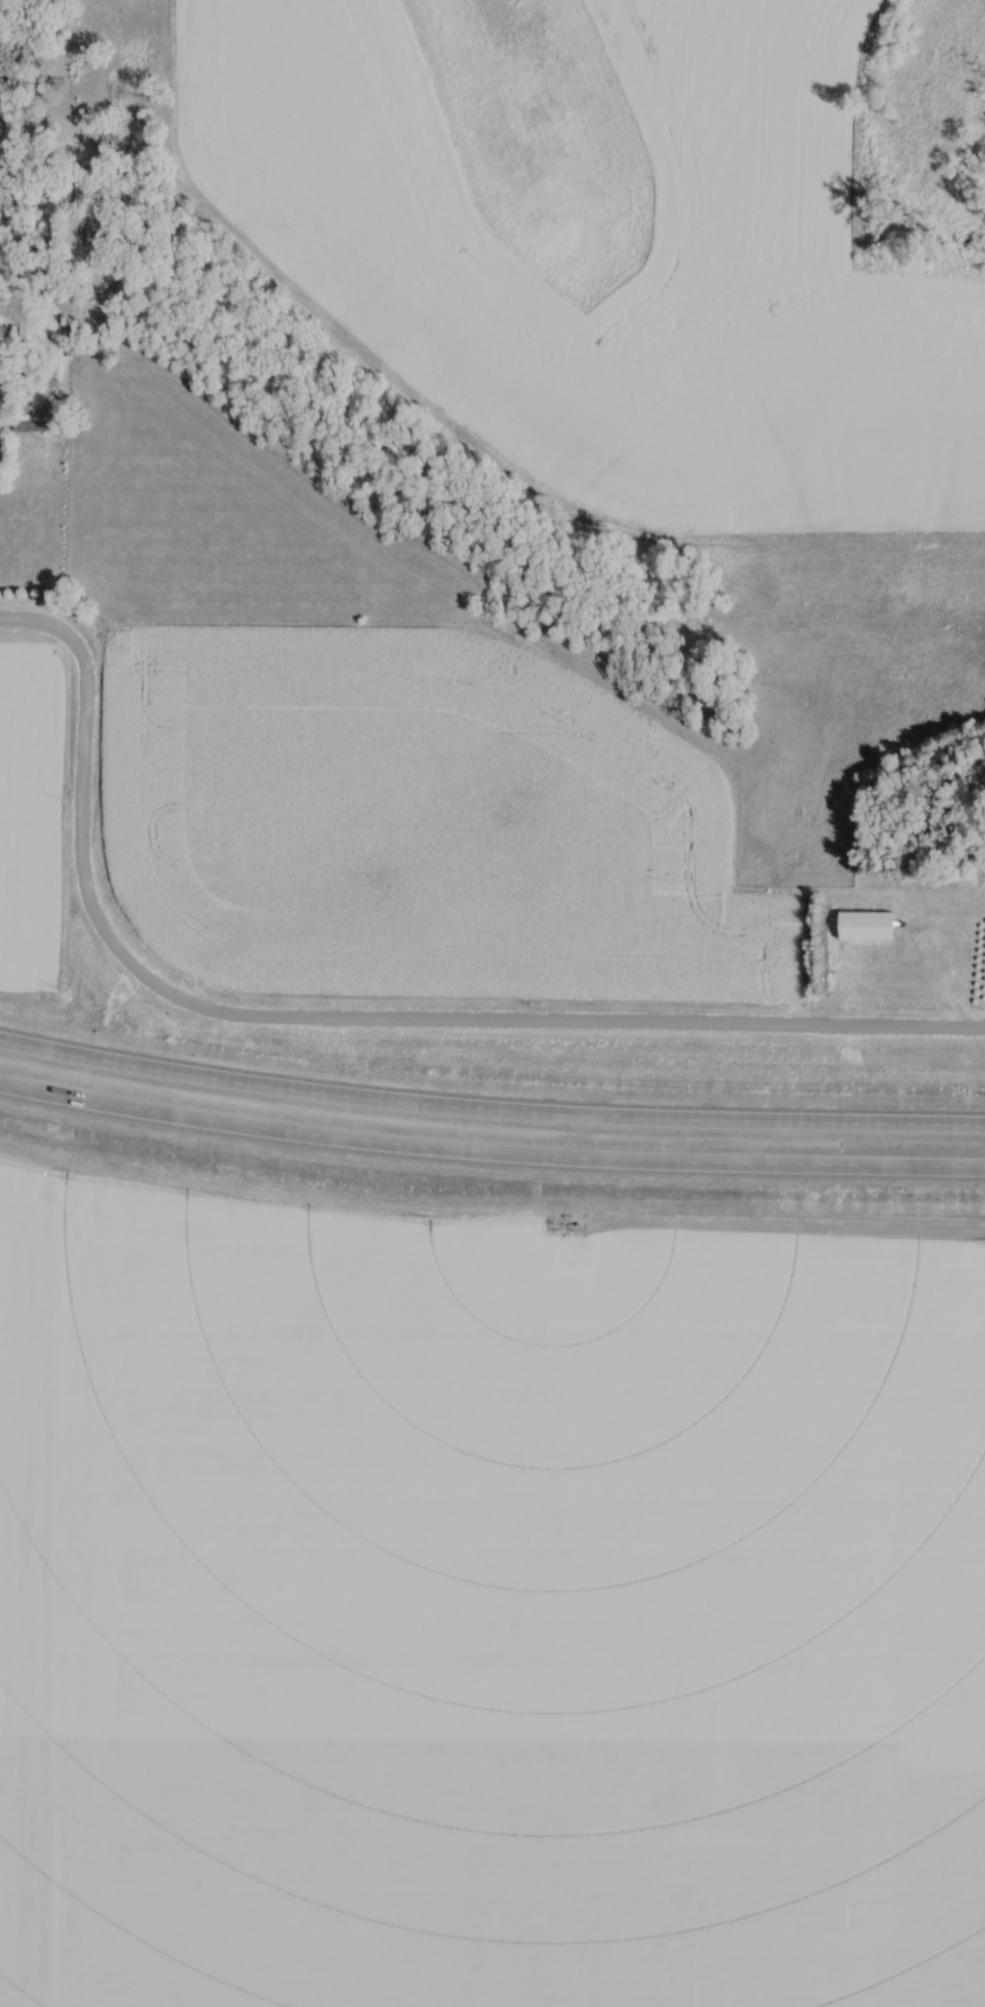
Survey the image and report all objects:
road: (56, 629)
building: (870, 927)
road: (400, 1019)
road: (490, 1109)
road: (490, 1151)

